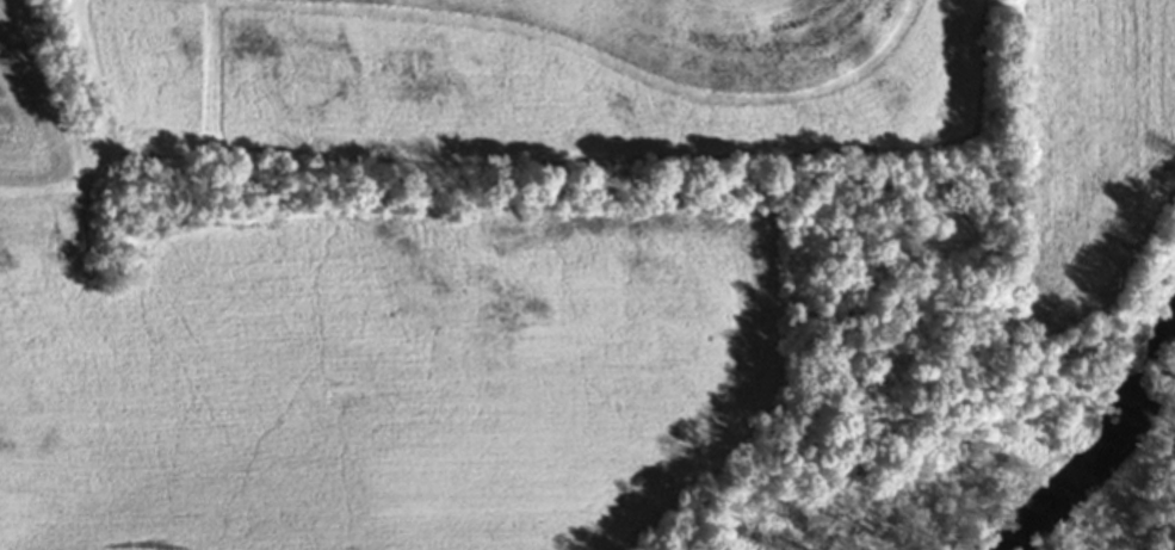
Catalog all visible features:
river: (1105, 451)

